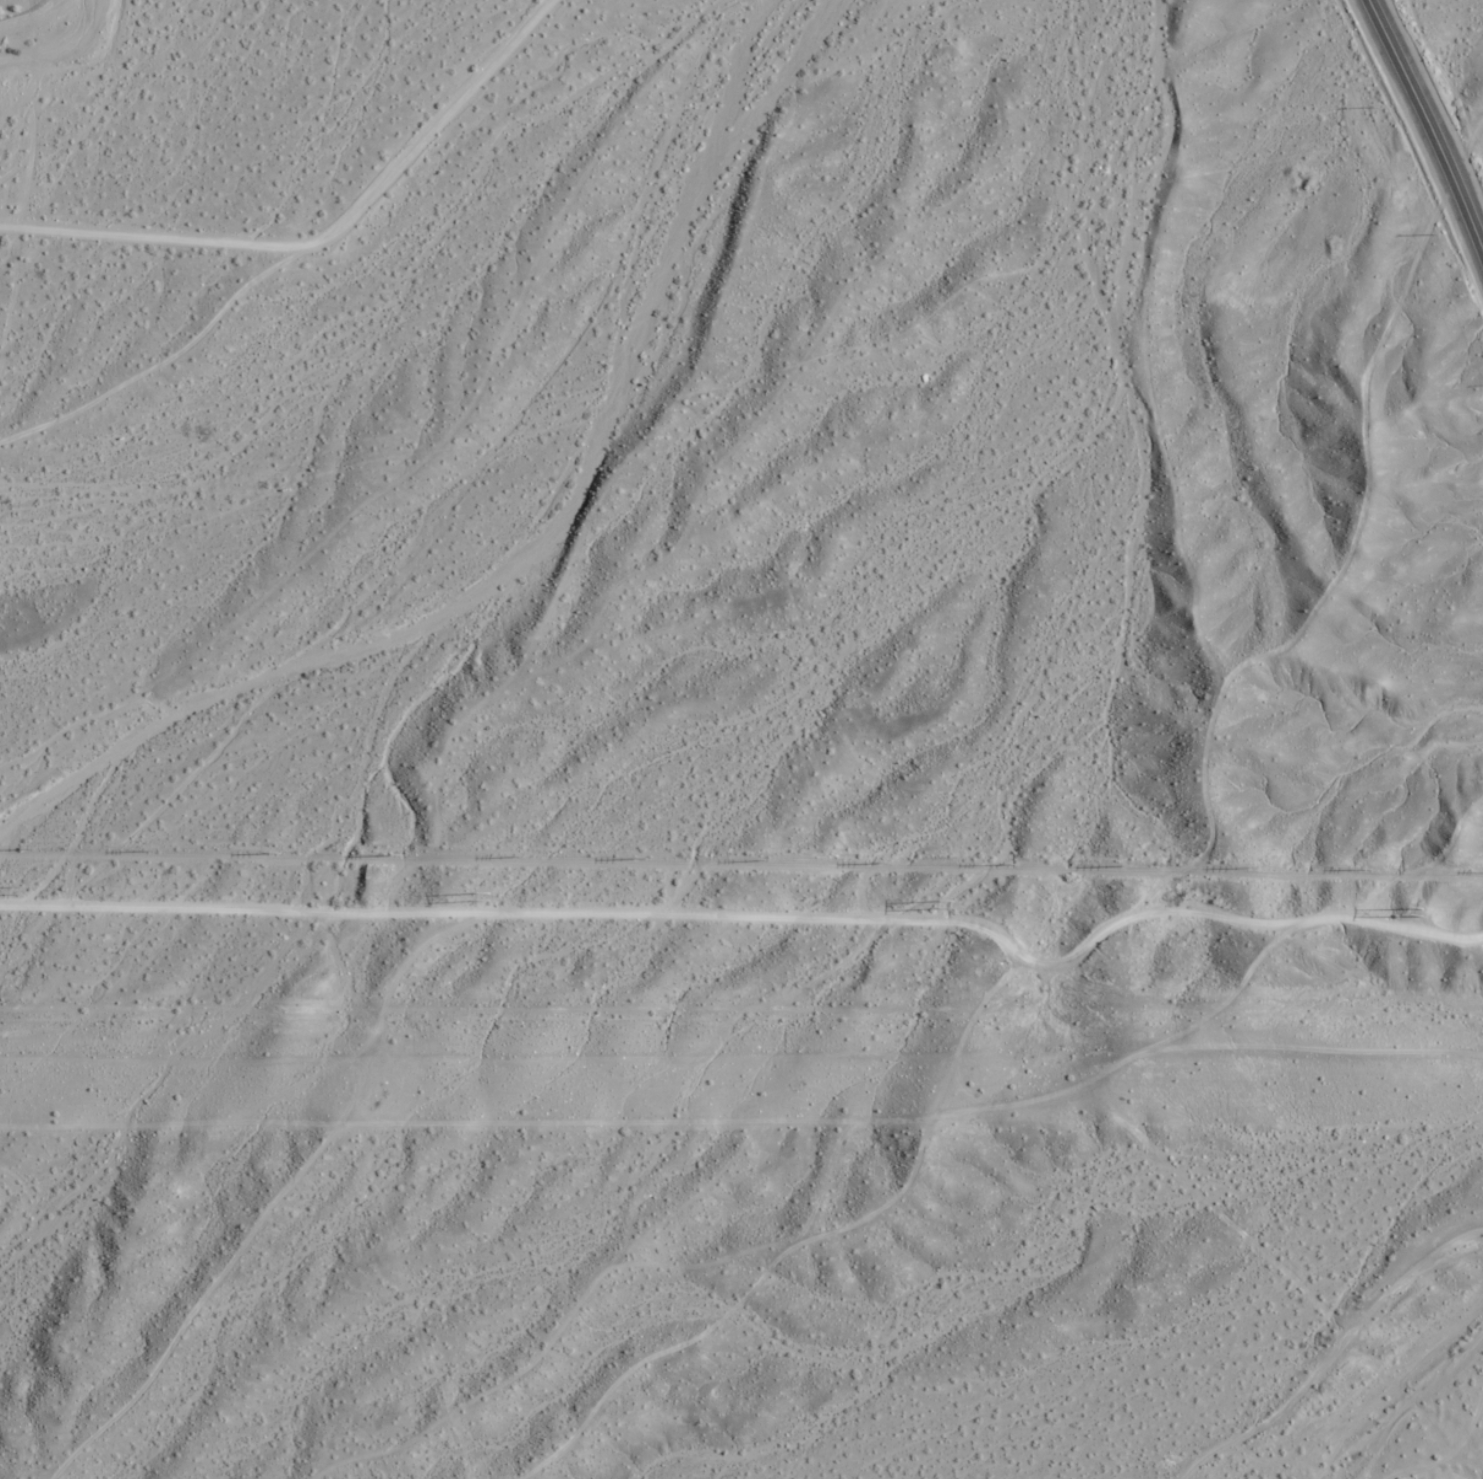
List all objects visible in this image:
road: (1424, 129)
road: (326, 238)
power tower: (156, 847)
power tower: (30, 848)
power tower: (279, 850)
power tower: (646, 854)
power tower: (398, 855)
power tower: (523, 856)
power tower: (763, 858)
power tower: (890, 862)
power tower: (1011, 863)
power tower: (1129, 865)
power tower: (1255, 865)
power tower: (29, 888)
power tower: (492, 895)
power tower: (989, 908)
power tower: (1427, 908)
road: (741, 937)
road: (747, 1123)

